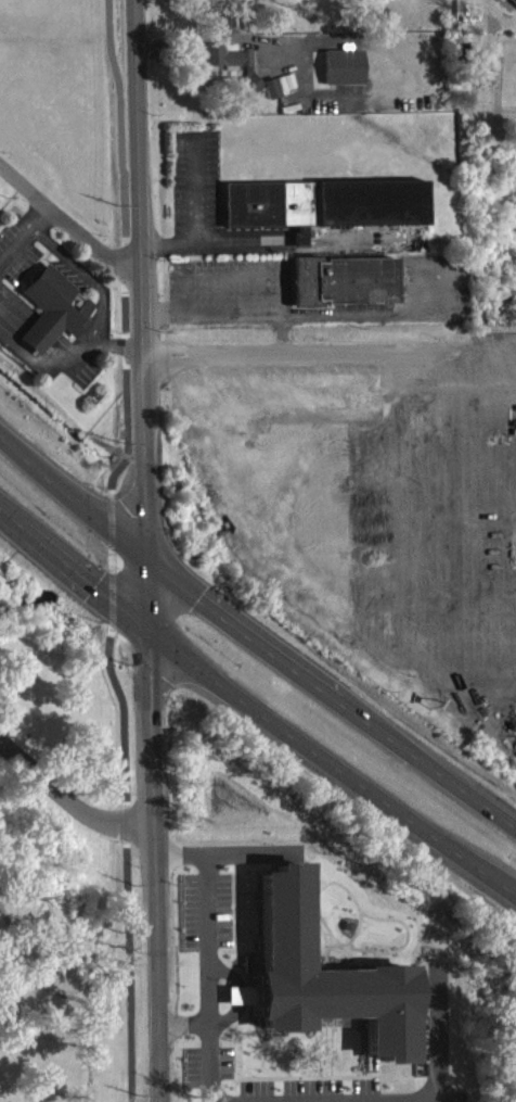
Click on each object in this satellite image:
building: (511, 7)
building: (378, 23)
road: (212, 35)
building: (224, 66)
building: (340, 77)
building: (247, 96)
road: (119, 119)
building: (0, 201)
building: (322, 215)
road: (47, 219)
road: (72, 224)
parking lot: (20, 250)
road: (20, 250)
parking lot: (76, 275)
building: (339, 292)
building: (57, 307)
road: (41, 316)
road: (38, 325)
road: (101, 330)
road: (35, 332)
road: (30, 340)
road: (120, 344)
road: (198, 352)
road: (437, 365)
parking lot: (91, 373)
road: (151, 550)
traffic signals: (152, 555)
road: (254, 628)
traffic signals: (156, 633)
road: (254, 704)
road: (69, 799)
road: (207, 954)
building: (321, 987)
road: (184, 1023)
road: (437, 1085)

